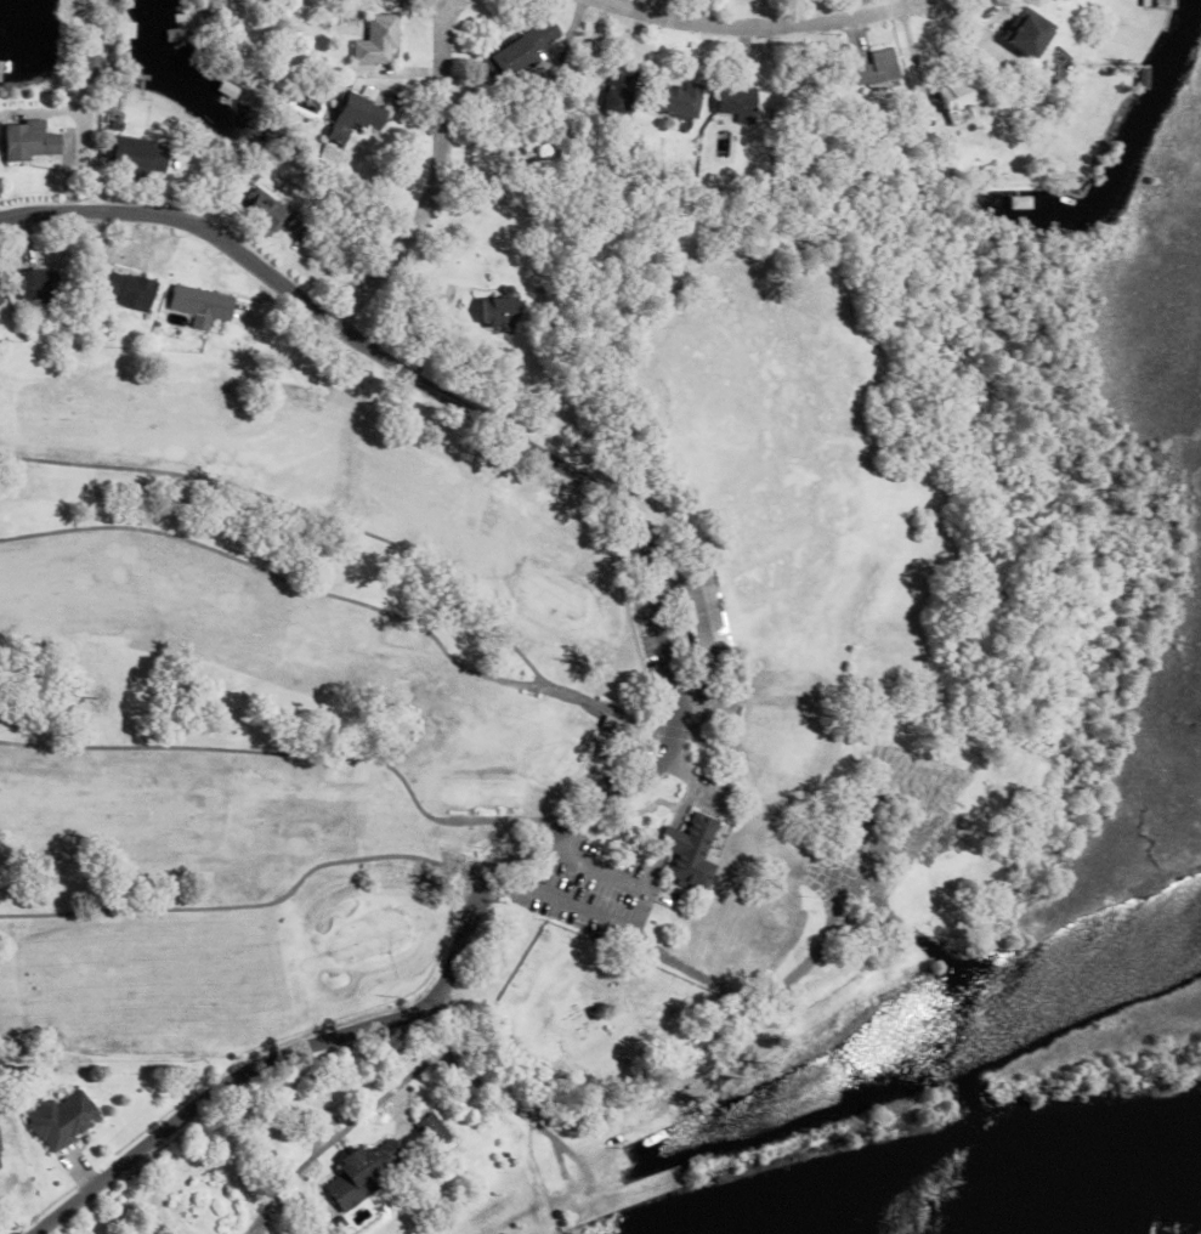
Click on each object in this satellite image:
building: (386, 0)
building: (1160, 1)
building: (999, 7)
building: (175, 17)
road: (755, 28)
building: (372, 39)
building: (1026, 40)
building: (512, 50)
building: (872, 69)
building: (612, 90)
building: (951, 94)
building: (673, 98)
building: (731, 103)
building: (347, 115)
road: (77, 121)
building: (107, 123)
building: (24, 141)
building: (540, 148)
building: (132, 155)
building: (889, 163)
building: (529, 172)
building: (833, 174)
road: (437, 177)
building: (752, 188)
building: (765, 188)
building: (651, 189)
building: (1014, 200)
building: (256, 211)
road: (185, 221)
building: (295, 225)
building: (35, 285)
building: (123, 288)
building: (0, 302)
building: (194, 305)
building: (494, 310)
building: (699, 607)
park: (268, 698)
building: (602, 718)
road: (690, 786)
road: (576, 822)
road: (667, 834)
building: (684, 844)
road: (653, 865)
road: (624, 925)
building: (58, 1120)
building: (426, 1126)
building: (355, 1168)

